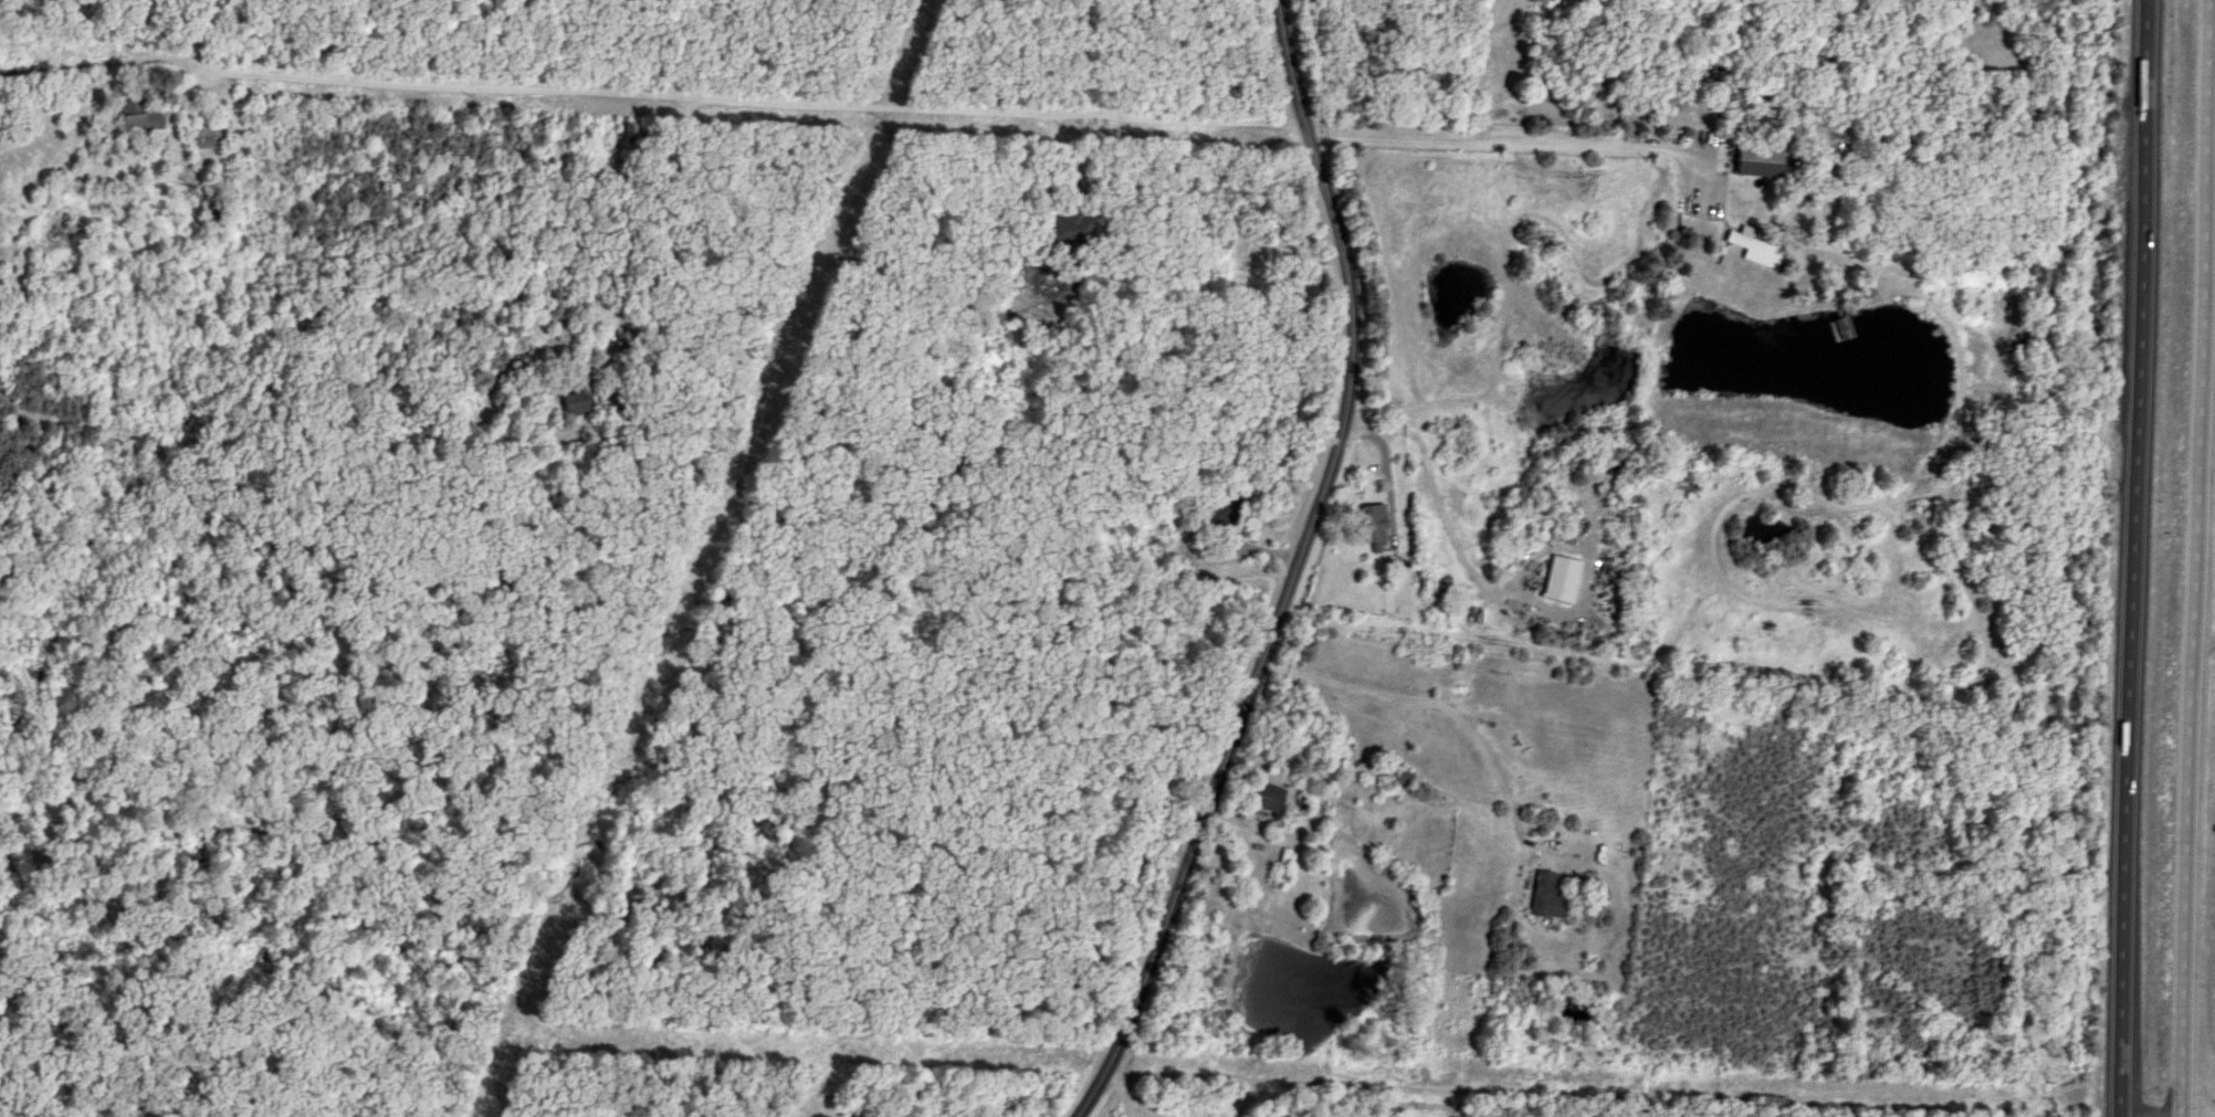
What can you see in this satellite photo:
road: (2214, 28)
road: (650, 98)
building: (135, 119)
building: (203, 136)
road: (1503, 141)
building: (1754, 159)
building: (1072, 229)
building: (1747, 244)
building: (571, 403)
road: (1428, 481)
building: (1222, 509)
building: (1371, 523)
road: (2138, 558)
road: (1292, 571)
building: (1557, 579)
road: (2188, 703)
road: (1436, 705)
building: (1398, 778)
building: (1264, 798)
building: (1277, 870)
building: (1540, 896)
road: (1371, 1085)
road: (1120, 1089)

